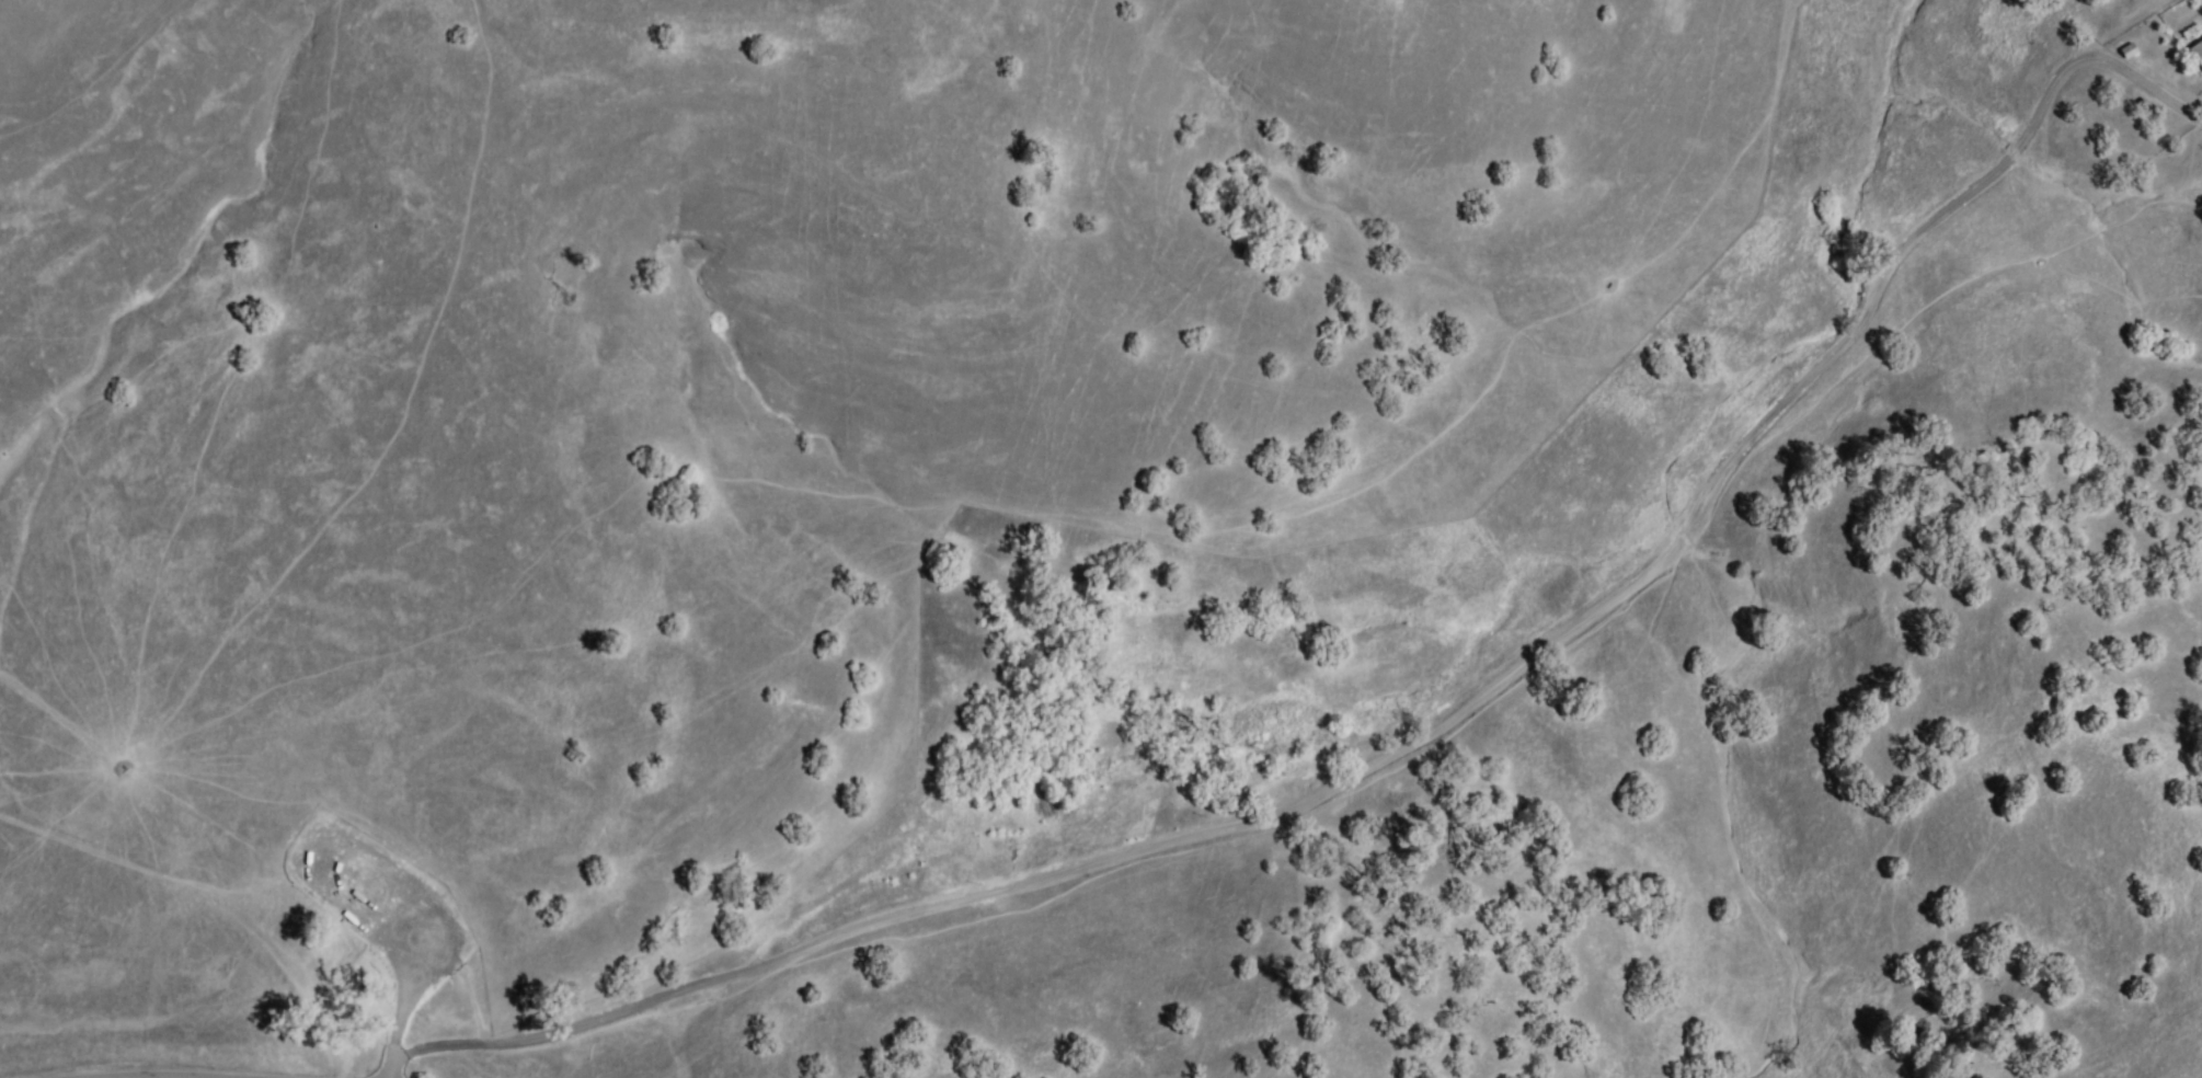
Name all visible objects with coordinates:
building: (2198, 53)
road: (1203, 832)
parking lot: (390, 1042)

